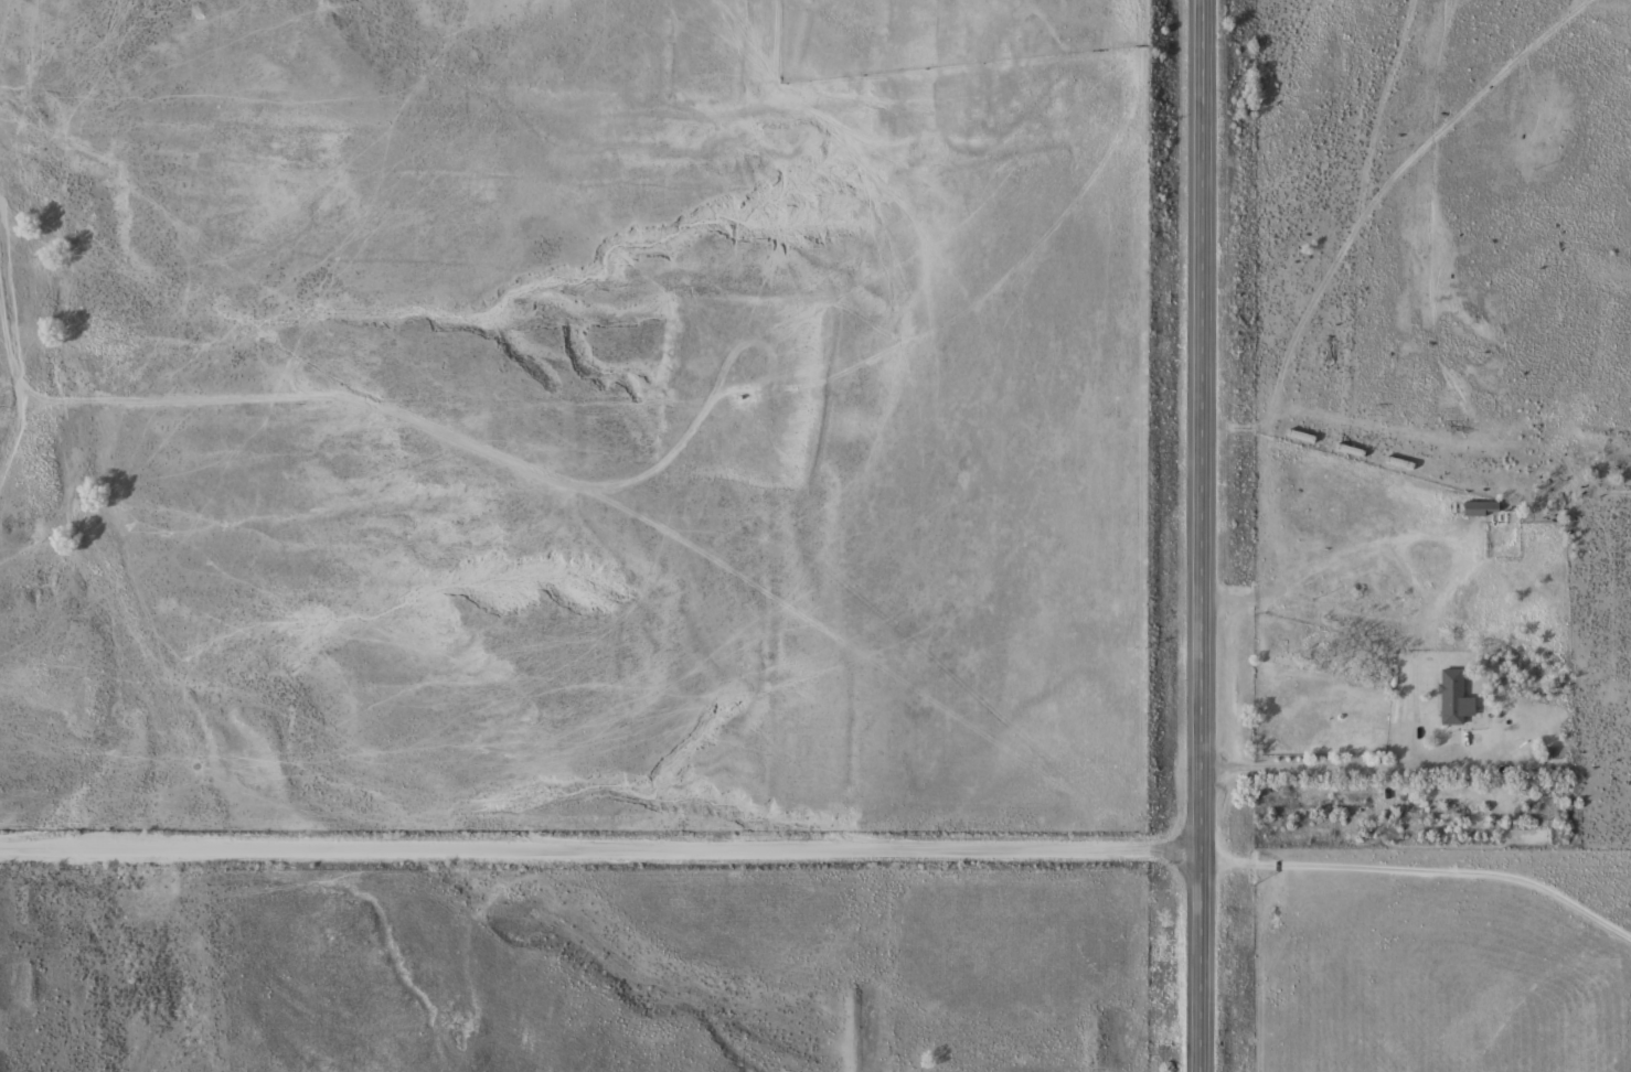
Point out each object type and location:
building: (1485, 507)
road: (1192, 535)
building: (1460, 697)
road: (595, 848)

